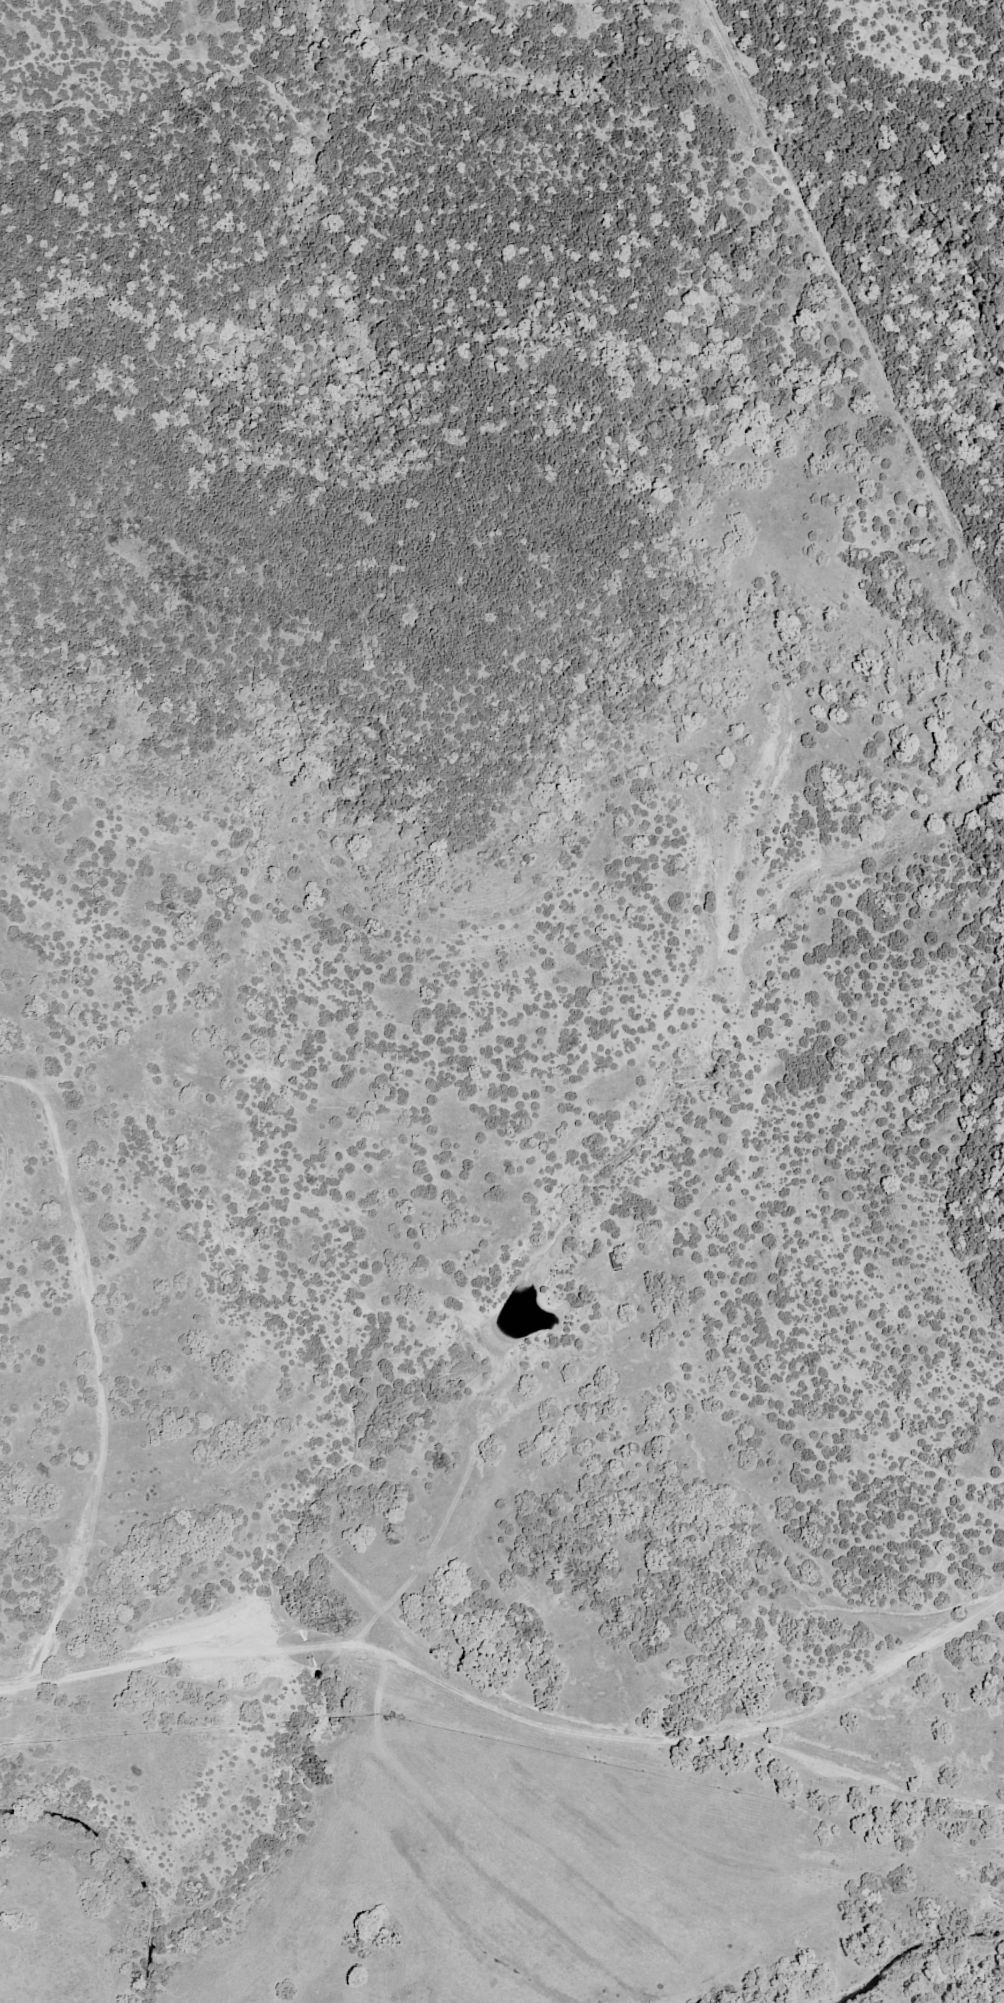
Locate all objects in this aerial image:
road: (504, 1719)

